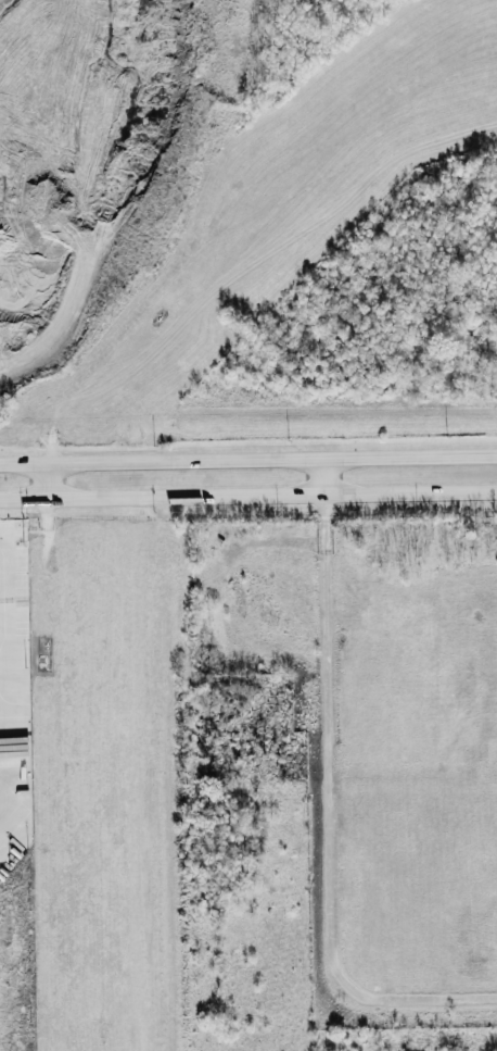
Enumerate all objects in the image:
road: (248, 459)
road: (322, 475)
road: (50, 480)
road: (247, 495)
road: (3, 660)
road: (482, 690)
road: (413, 779)
road: (330, 821)

